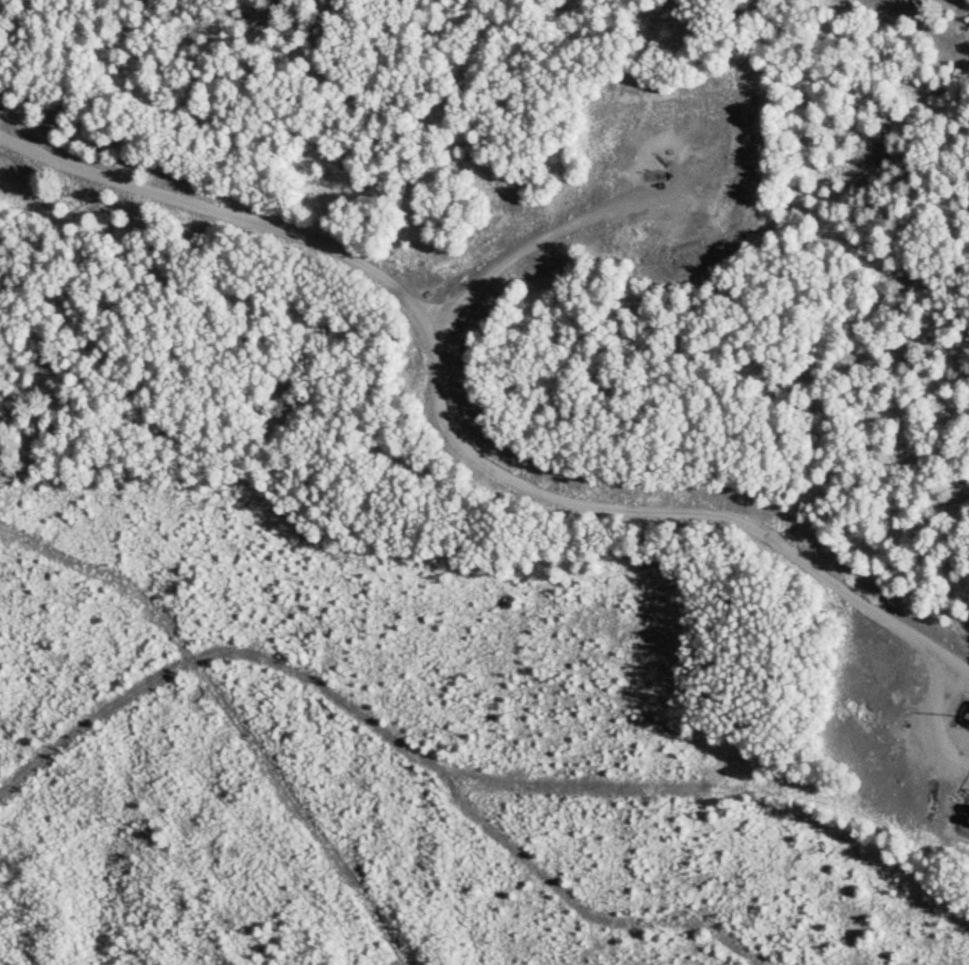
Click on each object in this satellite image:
petroleum well: (658, 172)
road: (507, 254)
road: (439, 438)

